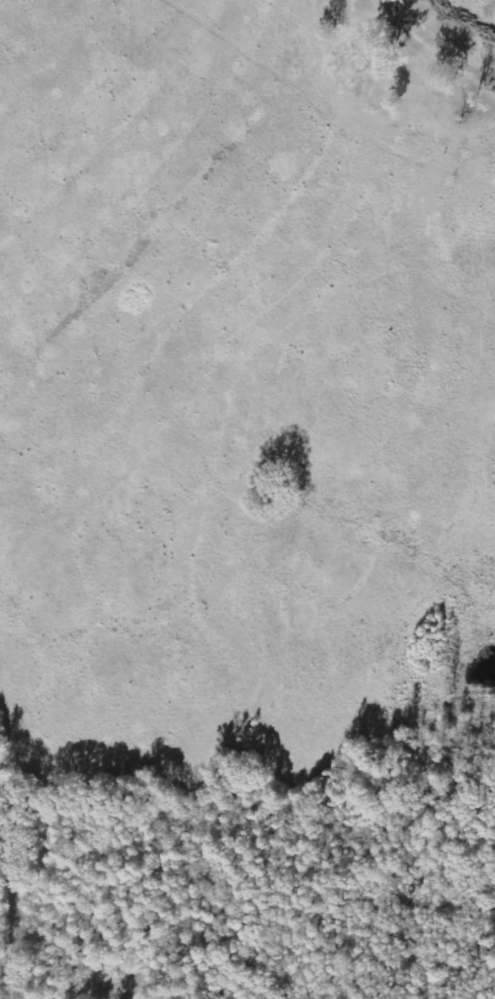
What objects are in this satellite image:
road: (23, 865)

